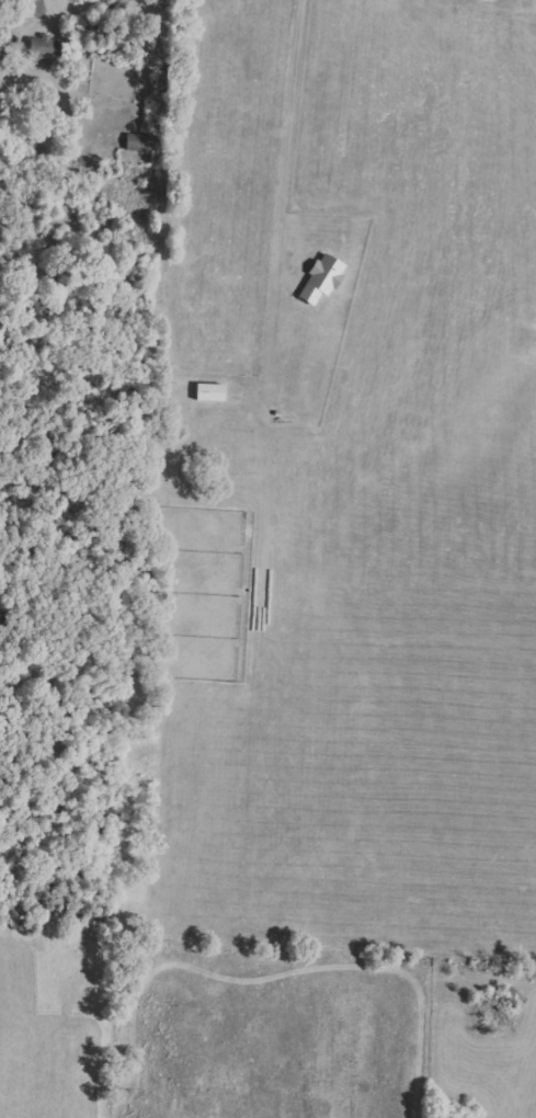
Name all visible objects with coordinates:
road: (38, 5)
building: (45, 49)
road: (293, 134)
building: (139, 141)
building: (323, 278)
building: (212, 392)

